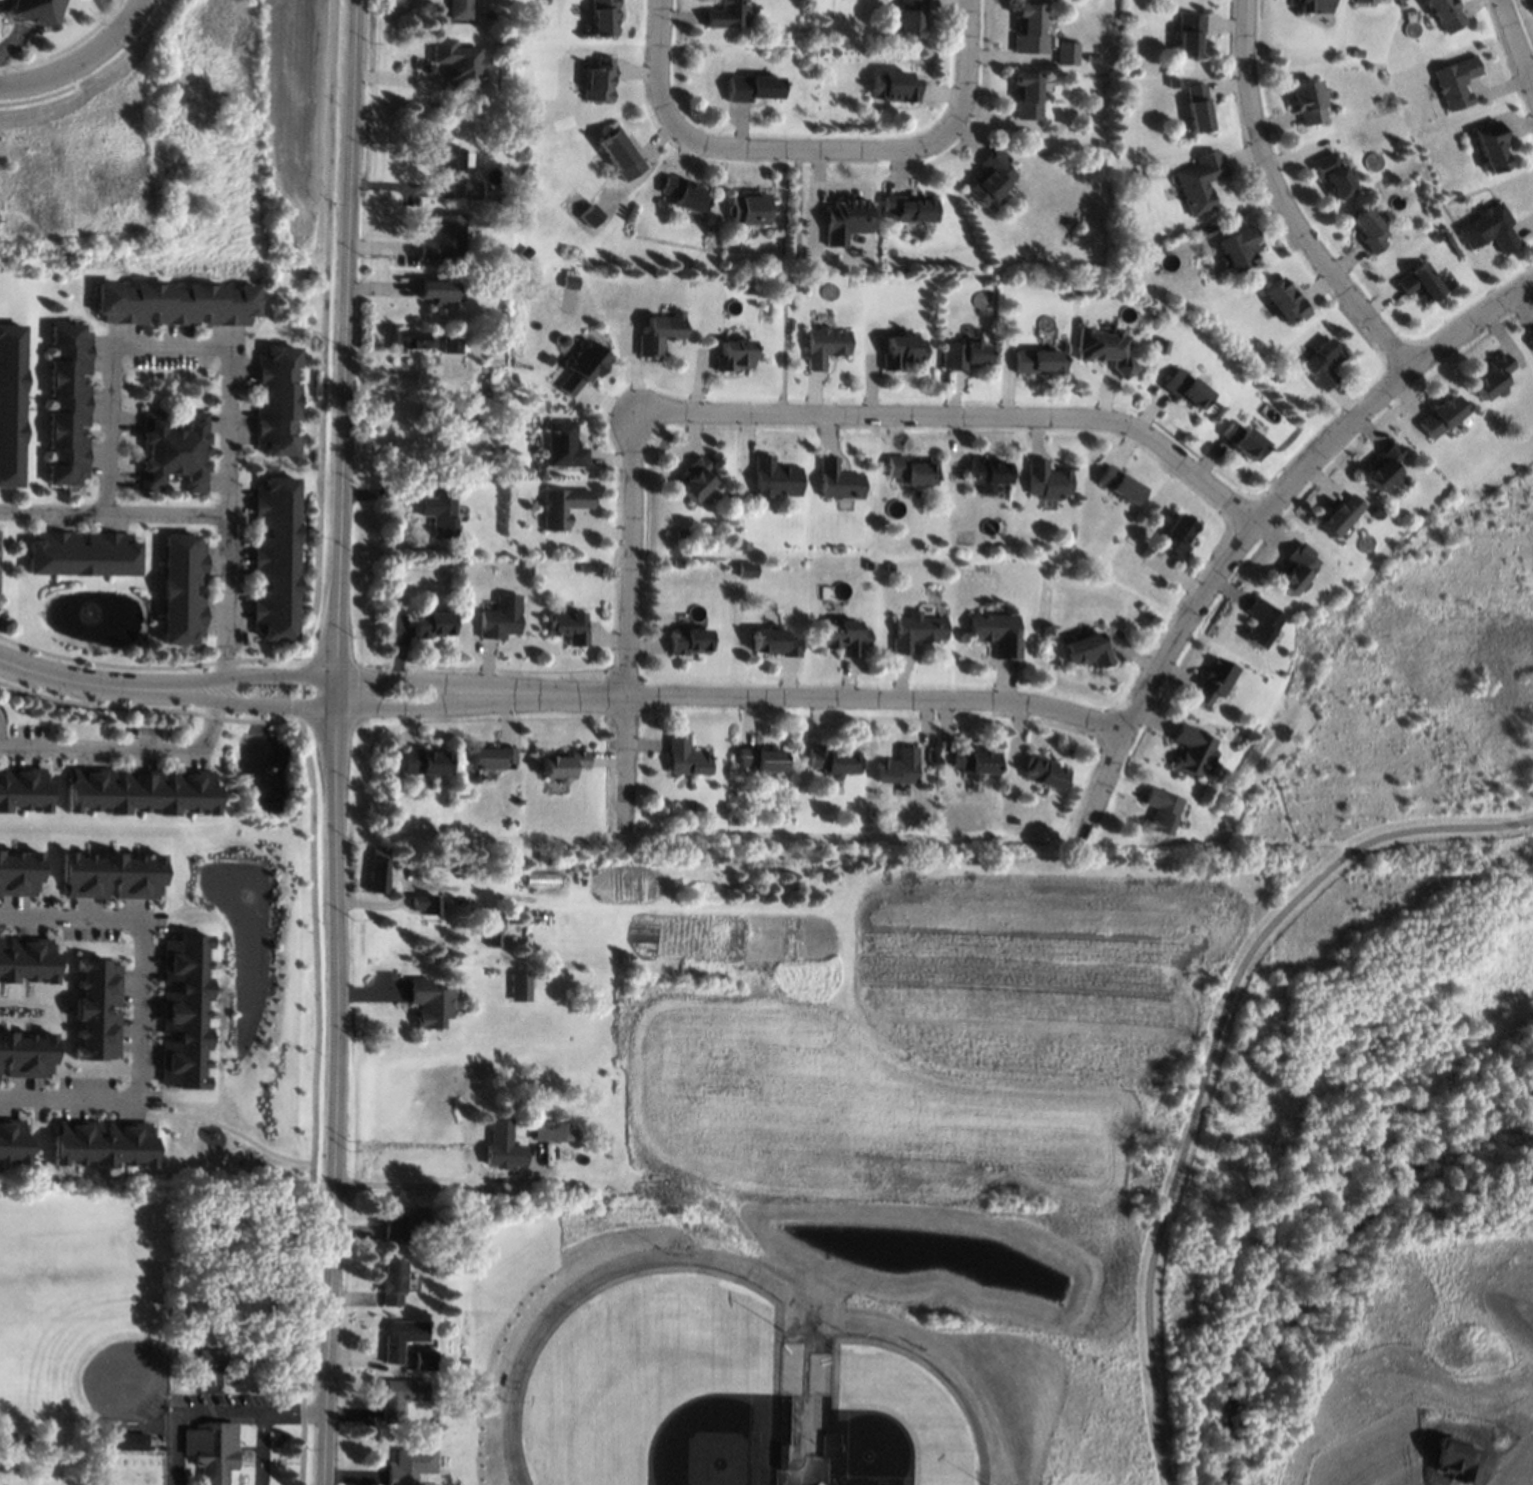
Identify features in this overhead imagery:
building: (1364, 1)
building: (1312, 6)
road: (115, 9)
building: (458, 9)
building: (30, 11)
building: (725, 14)
building: (1444, 14)
building: (602, 17)
building: (912, 18)
building: (1028, 30)
building: (1188, 33)
road: (1517, 42)
road: (14, 43)
building: (1066, 53)
building: (1089, 56)
road: (80, 59)
building: (456, 61)
road: (971, 63)
road: (659, 67)
building: (598, 80)
building: (1172, 82)
building: (1454, 82)
building: (892, 86)
building: (750, 88)
building: (1025, 95)
building: (1306, 102)
building: (1195, 107)
building: (1100, 144)
building: (1489, 145)
road: (820, 148)
building: (620, 153)
building: (451, 157)
building: (1332, 174)
building: (989, 178)
building: (1135, 179)
building: (1199, 181)
building: (469, 189)
building: (686, 195)
building: (499, 198)
road: (1284, 201)
building: (661, 202)
building: (749, 208)
building: (910, 209)
building: (496, 214)
building: (590, 215)
building: (845, 220)
building: (1487, 228)
building: (1205, 231)
building: (1368, 231)
building: (443, 238)
building: (1237, 248)
building: (854, 250)
road: (783, 279)
building: (569, 281)
building: (1418, 282)
building: (798, 284)
building: (436, 293)
building: (1283, 301)
building: (175, 303)
building: (498, 318)
building: (658, 332)
road: (323, 333)
road: (345, 337)
building: (405, 338)
building: (1530, 340)
building: (449, 343)
building: (823, 346)
building: (1160, 346)
building: (1103, 348)
building: (900, 350)
building: (731, 355)
building: (961, 355)
building: (1036, 361)
building: (1321, 363)
building: (580, 366)
road: (403, 371)
building: (1276, 377)
building: (1490, 378)
road: (227, 381)
building: (1184, 389)
building: (275, 400)
building: (10, 404)
building: (68, 404)
road: (963, 415)
building: (1438, 416)
building: (1242, 440)
building: (562, 445)
building: (173, 450)
building: (537, 467)
building: (1383, 468)
building: (909, 470)
building: (986, 471)
building: (492, 478)
building: (772, 478)
building: (692, 479)
building: (835, 480)
building: (1045, 480)
building: (1116, 484)
building: (562, 506)
building: (1374, 512)
road: (113, 514)
building: (436, 515)
building: (1337, 515)
road: (1256, 520)
building: (678, 533)
building: (1173, 537)
building: (741, 545)
building: (1001, 547)
building: (82, 554)
building: (274, 558)
building: (519, 562)
building: (677, 564)
building: (867, 564)
building: (888, 565)
building: (583, 568)
building: (1294, 569)
building: (743, 570)
building: (182, 588)
building: (500, 618)
road: (629, 619)
building: (1258, 622)
building: (430, 625)
building: (567, 626)
building: (914, 631)
building: (995, 633)
building: (842, 637)
building: (687, 641)
building: (773, 642)
building: (1085, 649)
road: (301, 674)
road: (251, 675)
building: (1210, 681)
road: (83, 682)
road: (449, 682)
road: (299, 690)
road: (846, 697)
road: (251, 703)
road: (449, 705)
road: (298, 707)
road: (2, 732)
building: (1190, 750)
road: (128, 753)
building: (488, 757)
building: (759, 757)
building: (683, 758)
building: (421, 761)
building: (830, 761)
building: (972, 762)
building: (559, 765)
building: (895, 767)
building: (1041, 772)
building: (24, 789)
building: (141, 790)
building: (1159, 809)
building: (706, 816)
building: (512, 822)
building: (1225, 828)
building: (539, 856)
building: (377, 868)
building: (105, 869)
building: (16, 870)
building: (540, 879)
building: (424, 904)
road: (150, 925)
building: (491, 933)
building: (24, 947)
building: (519, 986)
building: (100, 997)
building: (187, 997)
park: (1339, 997)
building: (427, 1003)
crop: (898, 1040)
building: (24, 1044)
road: (1212, 1055)
road: (335, 1080)
road: (74, 1089)
road: (314, 1100)
road: (225, 1128)
building: (13, 1129)
building: (549, 1130)
building: (102, 1131)
building: (499, 1131)
road: (445, 1189)
building: (401, 1221)
river: (1330, 1259)
building: (390, 1282)
park: (80, 1311)
building: (398, 1338)
building: (210, 1357)
building: (422, 1359)
building: (396, 1397)
road: (218, 1411)
park: (642, 1419)
park: (911, 1423)
building: (124, 1440)
road: (261, 1447)
building: (210, 1449)
building: (1455, 1460)
building: (406, 1466)
park: (132, 1469)
building: (819, 1483)
building: (428, 1484)

